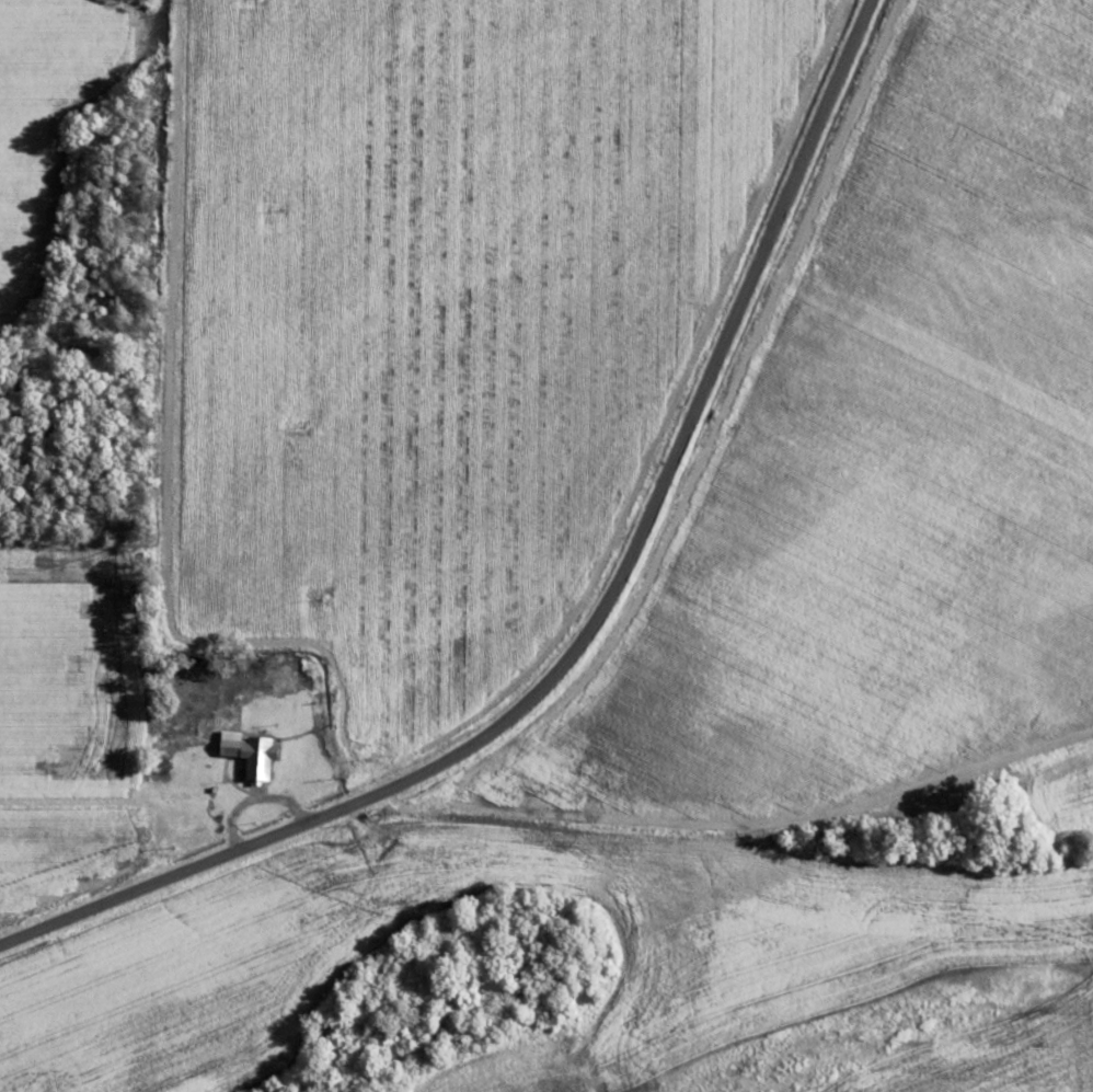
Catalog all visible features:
road: (591, 625)
building: (255, 752)
road: (712, 851)

